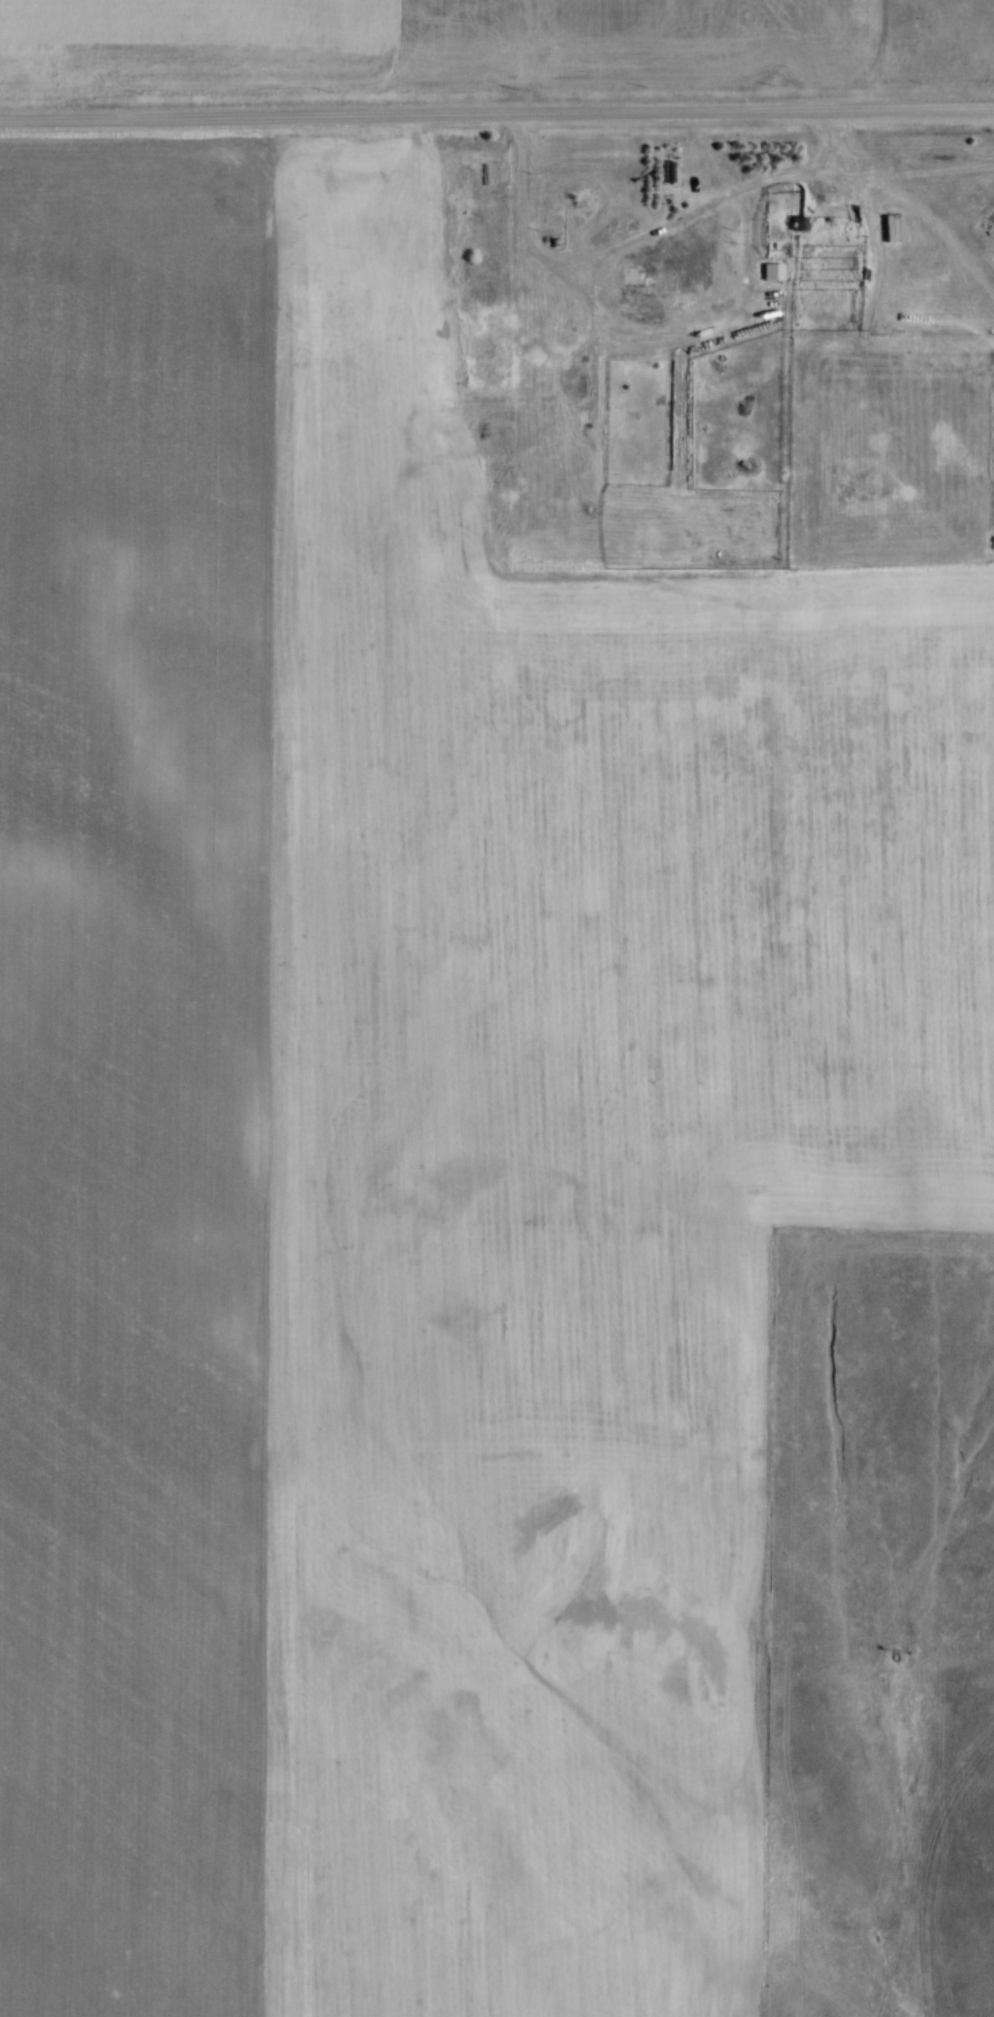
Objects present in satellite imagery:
crop: (434, 44)
road: (496, 111)
building: (564, 193)
building: (800, 223)
road: (636, 241)
building: (773, 271)
building: (635, 275)
crop: (413, 1132)

